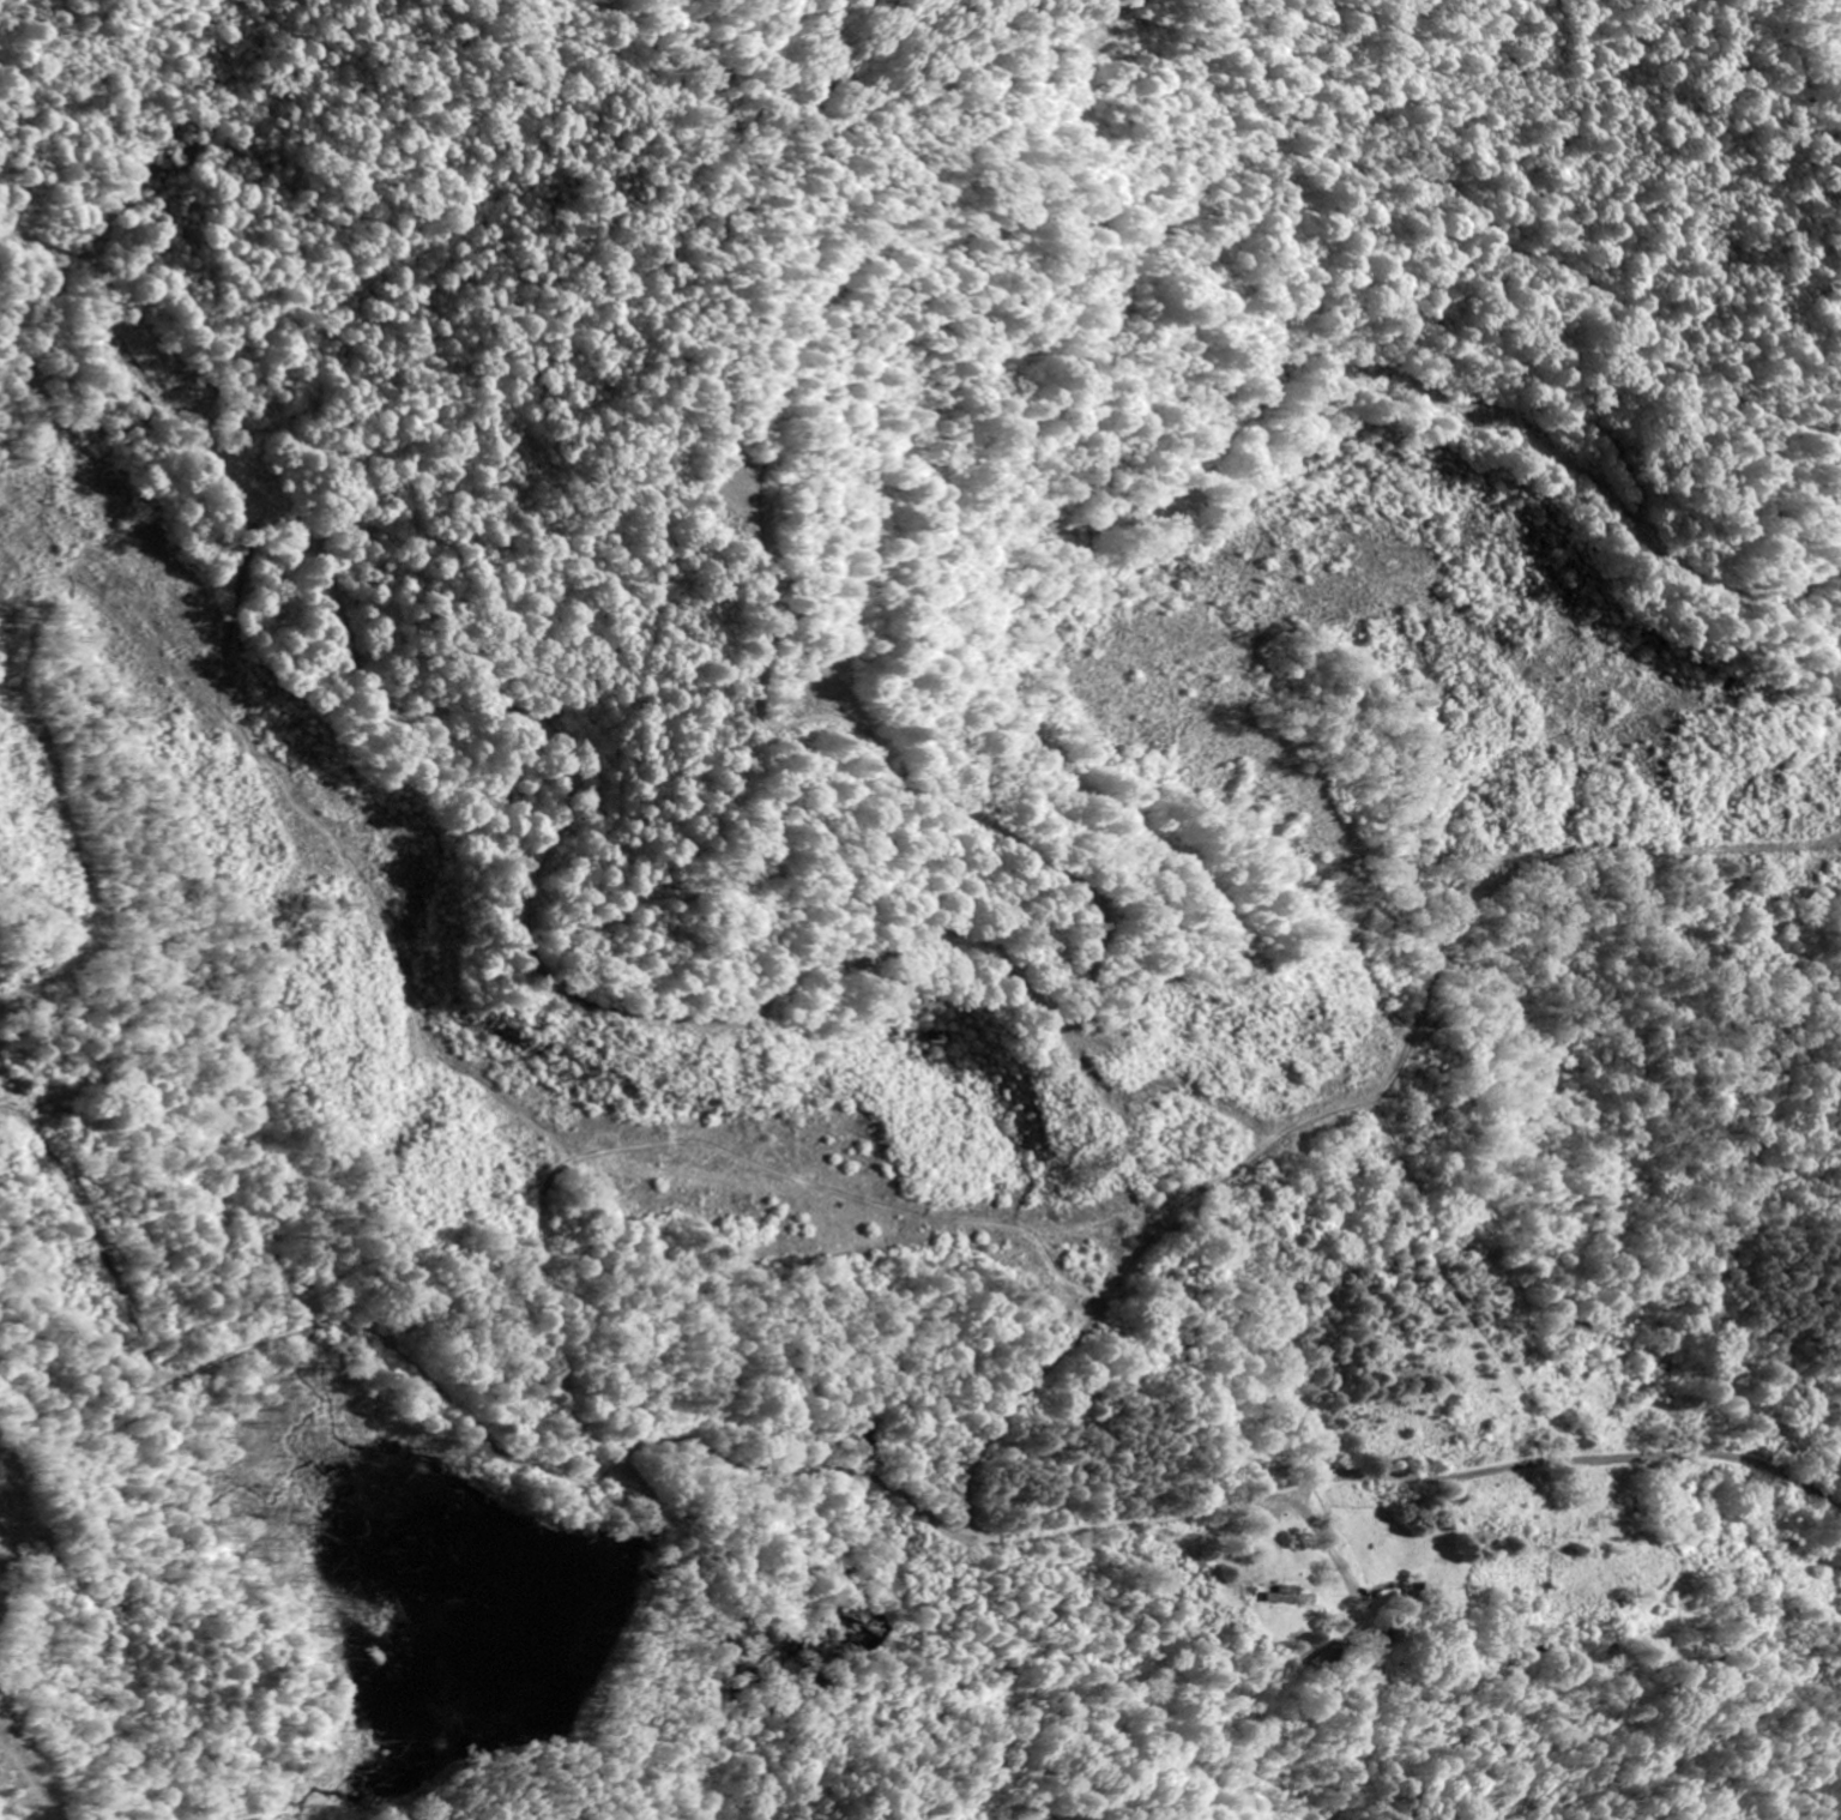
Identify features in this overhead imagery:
road: (1570, 1460)

